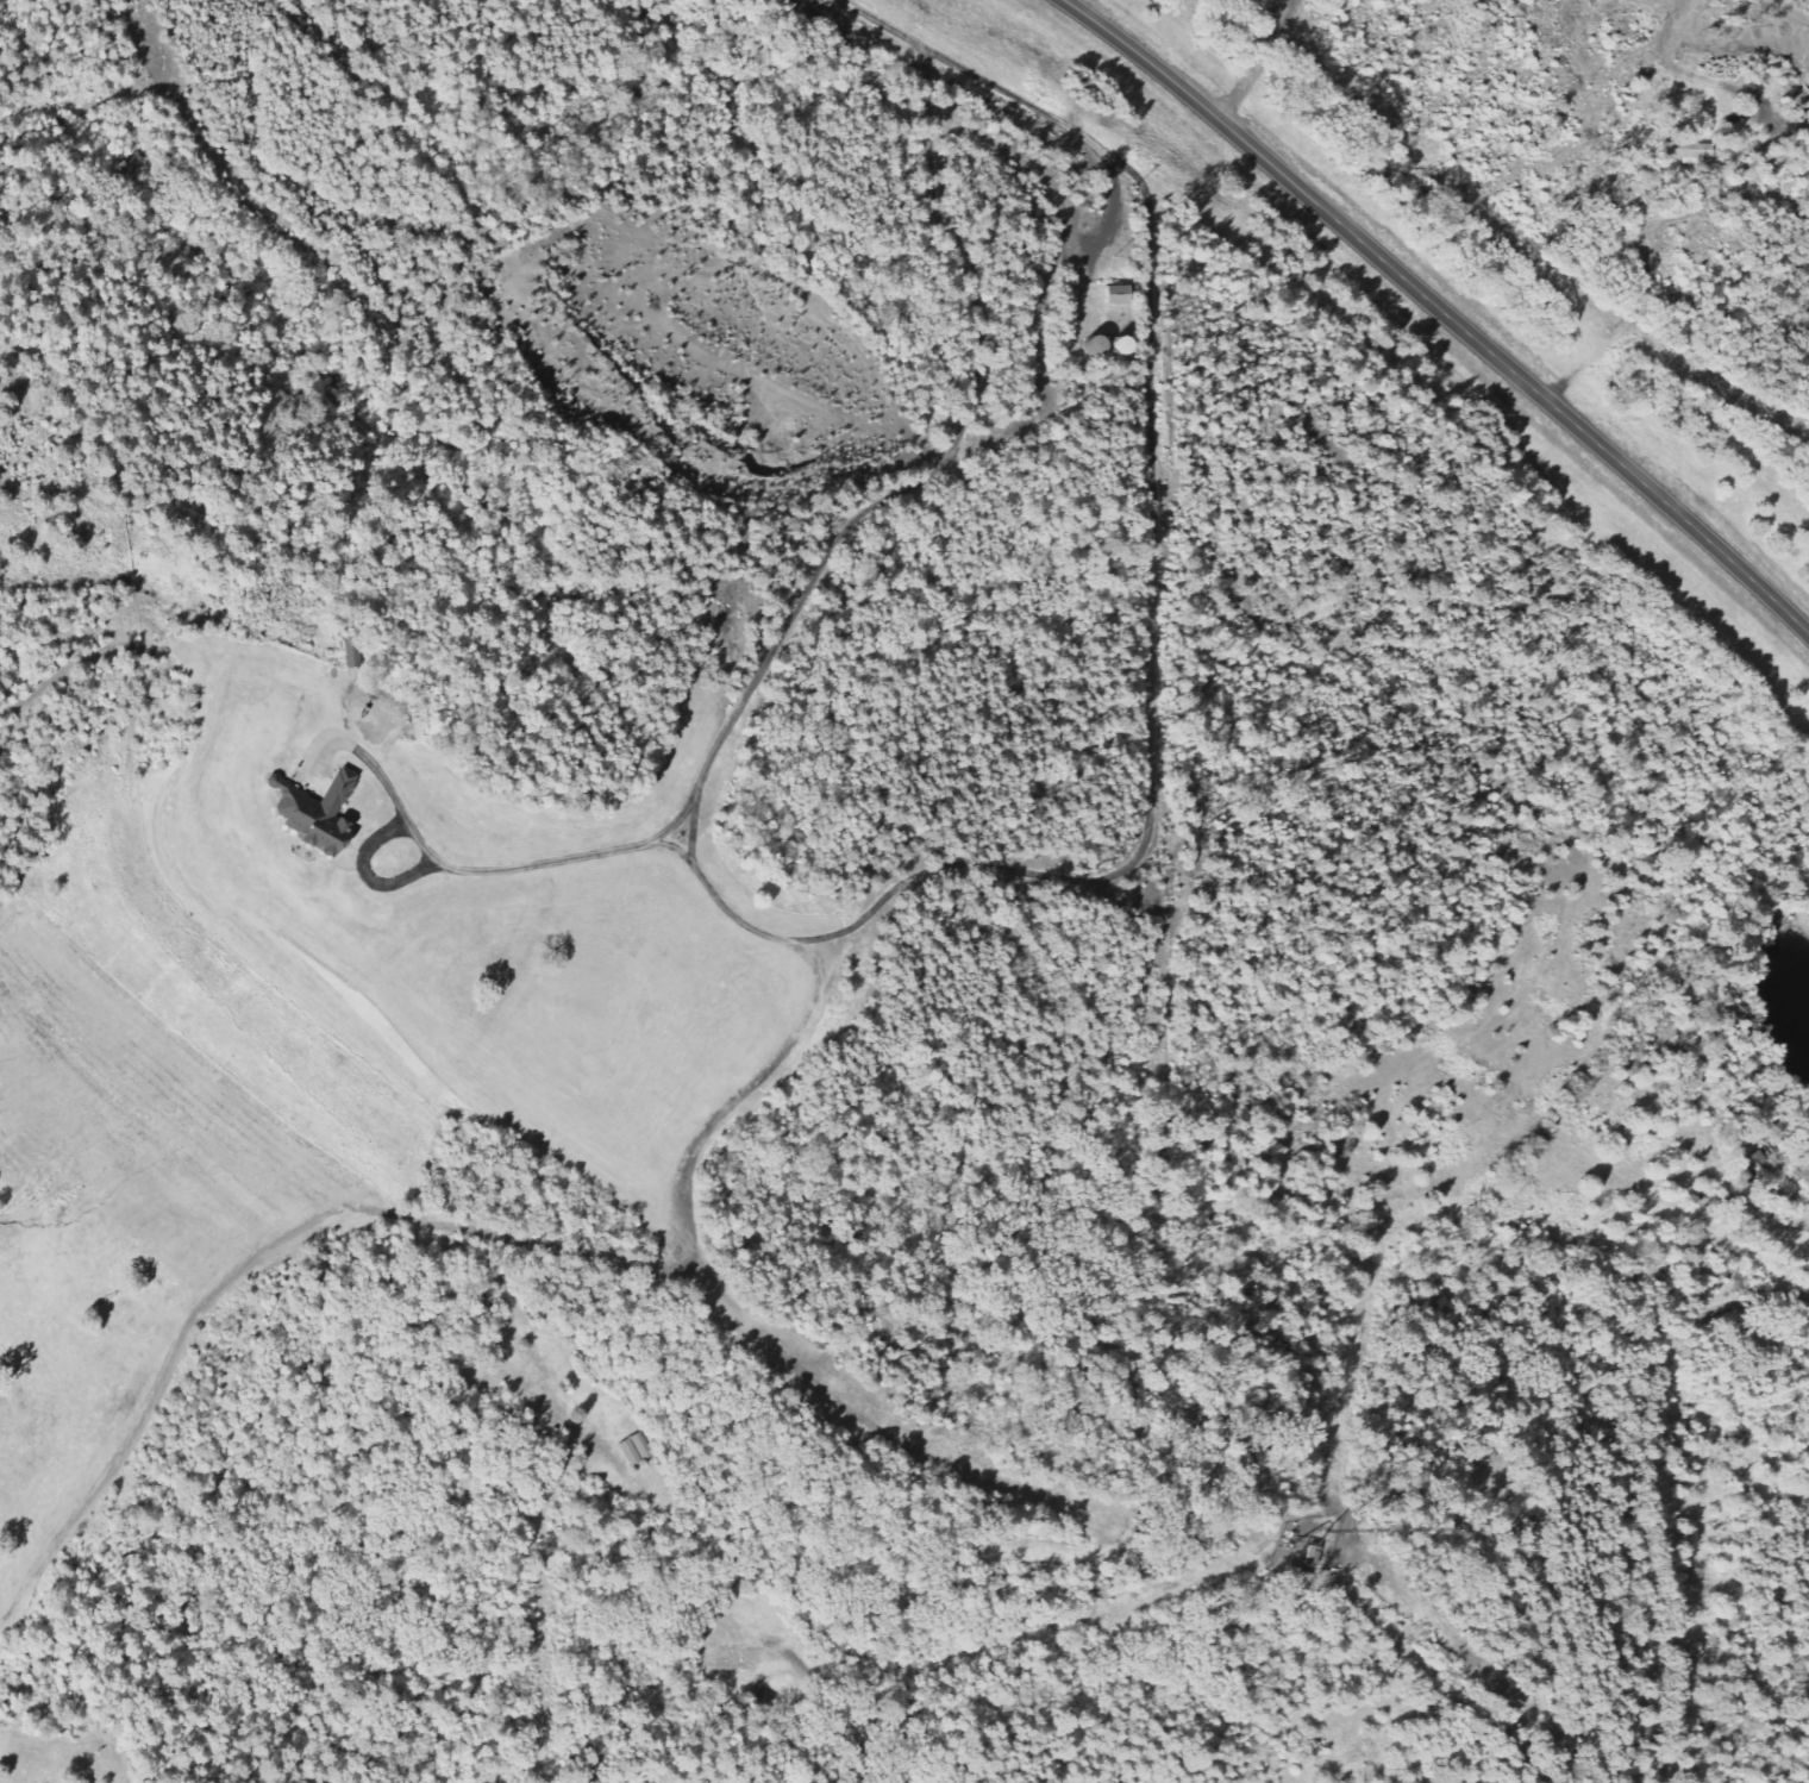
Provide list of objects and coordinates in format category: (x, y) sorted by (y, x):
road: (882, 24)
road: (1254, 60)
road: (926, 82)
road: (1079, 132)
building: (1685, 150)
building: (1113, 294)
road: (1440, 311)
building: (1098, 344)
road: (816, 573)
building: (315, 814)
road: (693, 828)
road: (1143, 847)
building: (1300, 1553)
building: (1309, 1556)
building: (1285, 1564)

